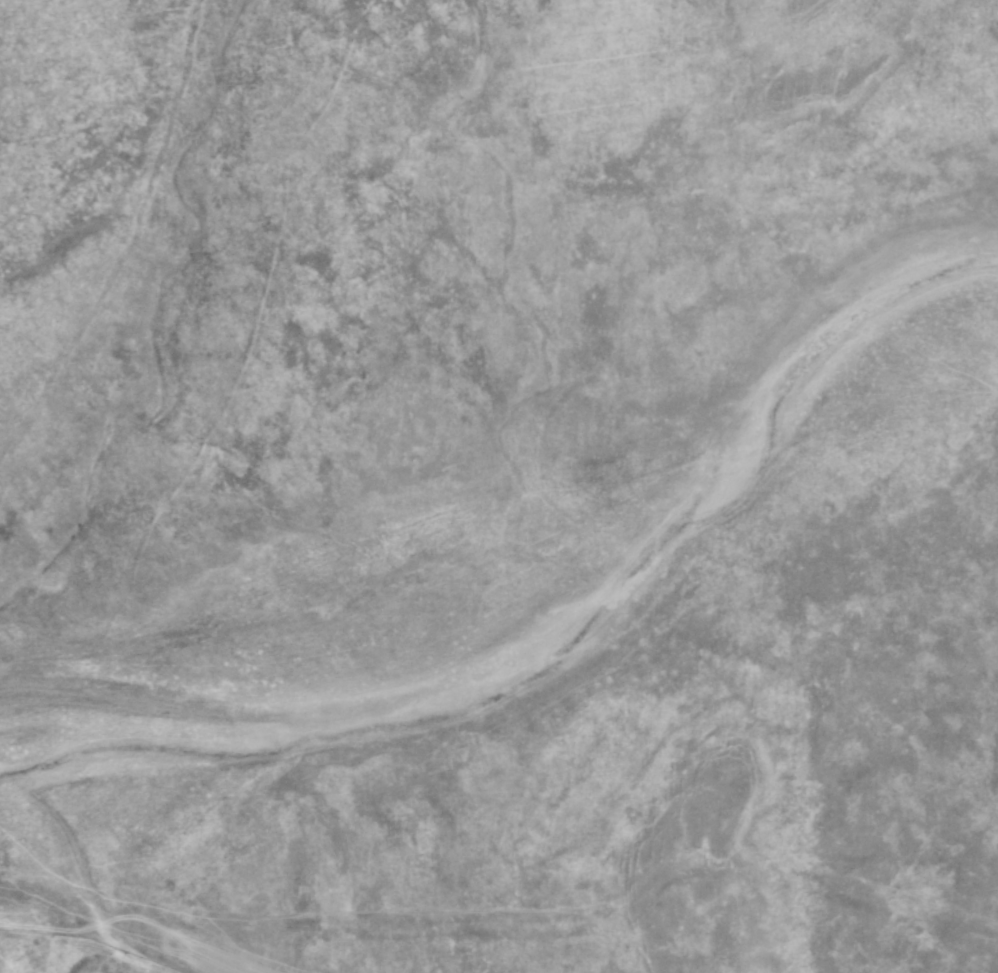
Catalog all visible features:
airport: (499, 486)

